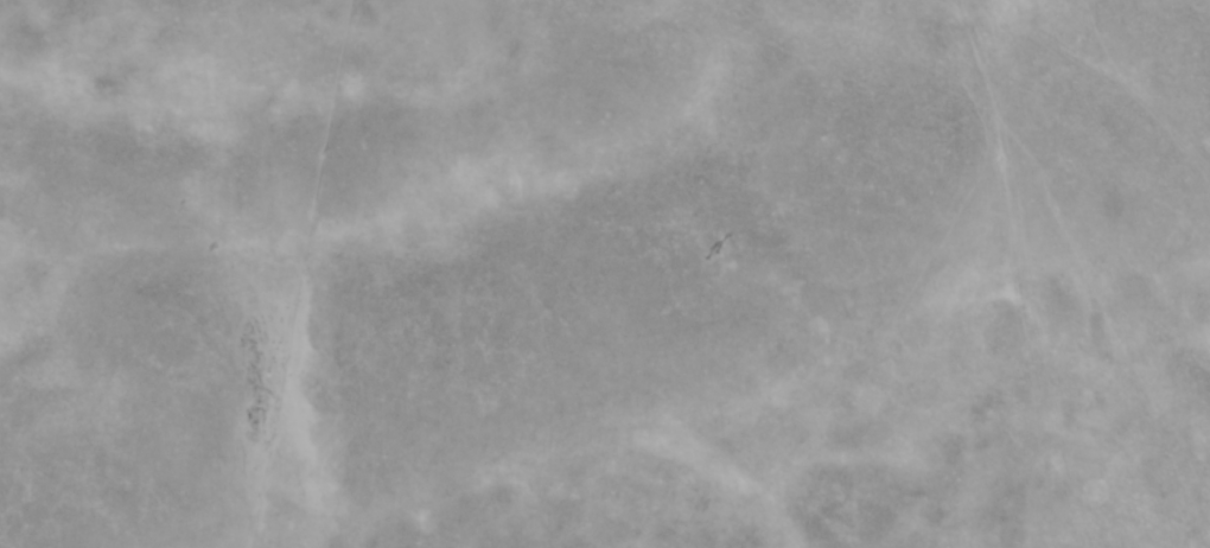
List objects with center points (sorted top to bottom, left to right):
power tower: (717, 254)

